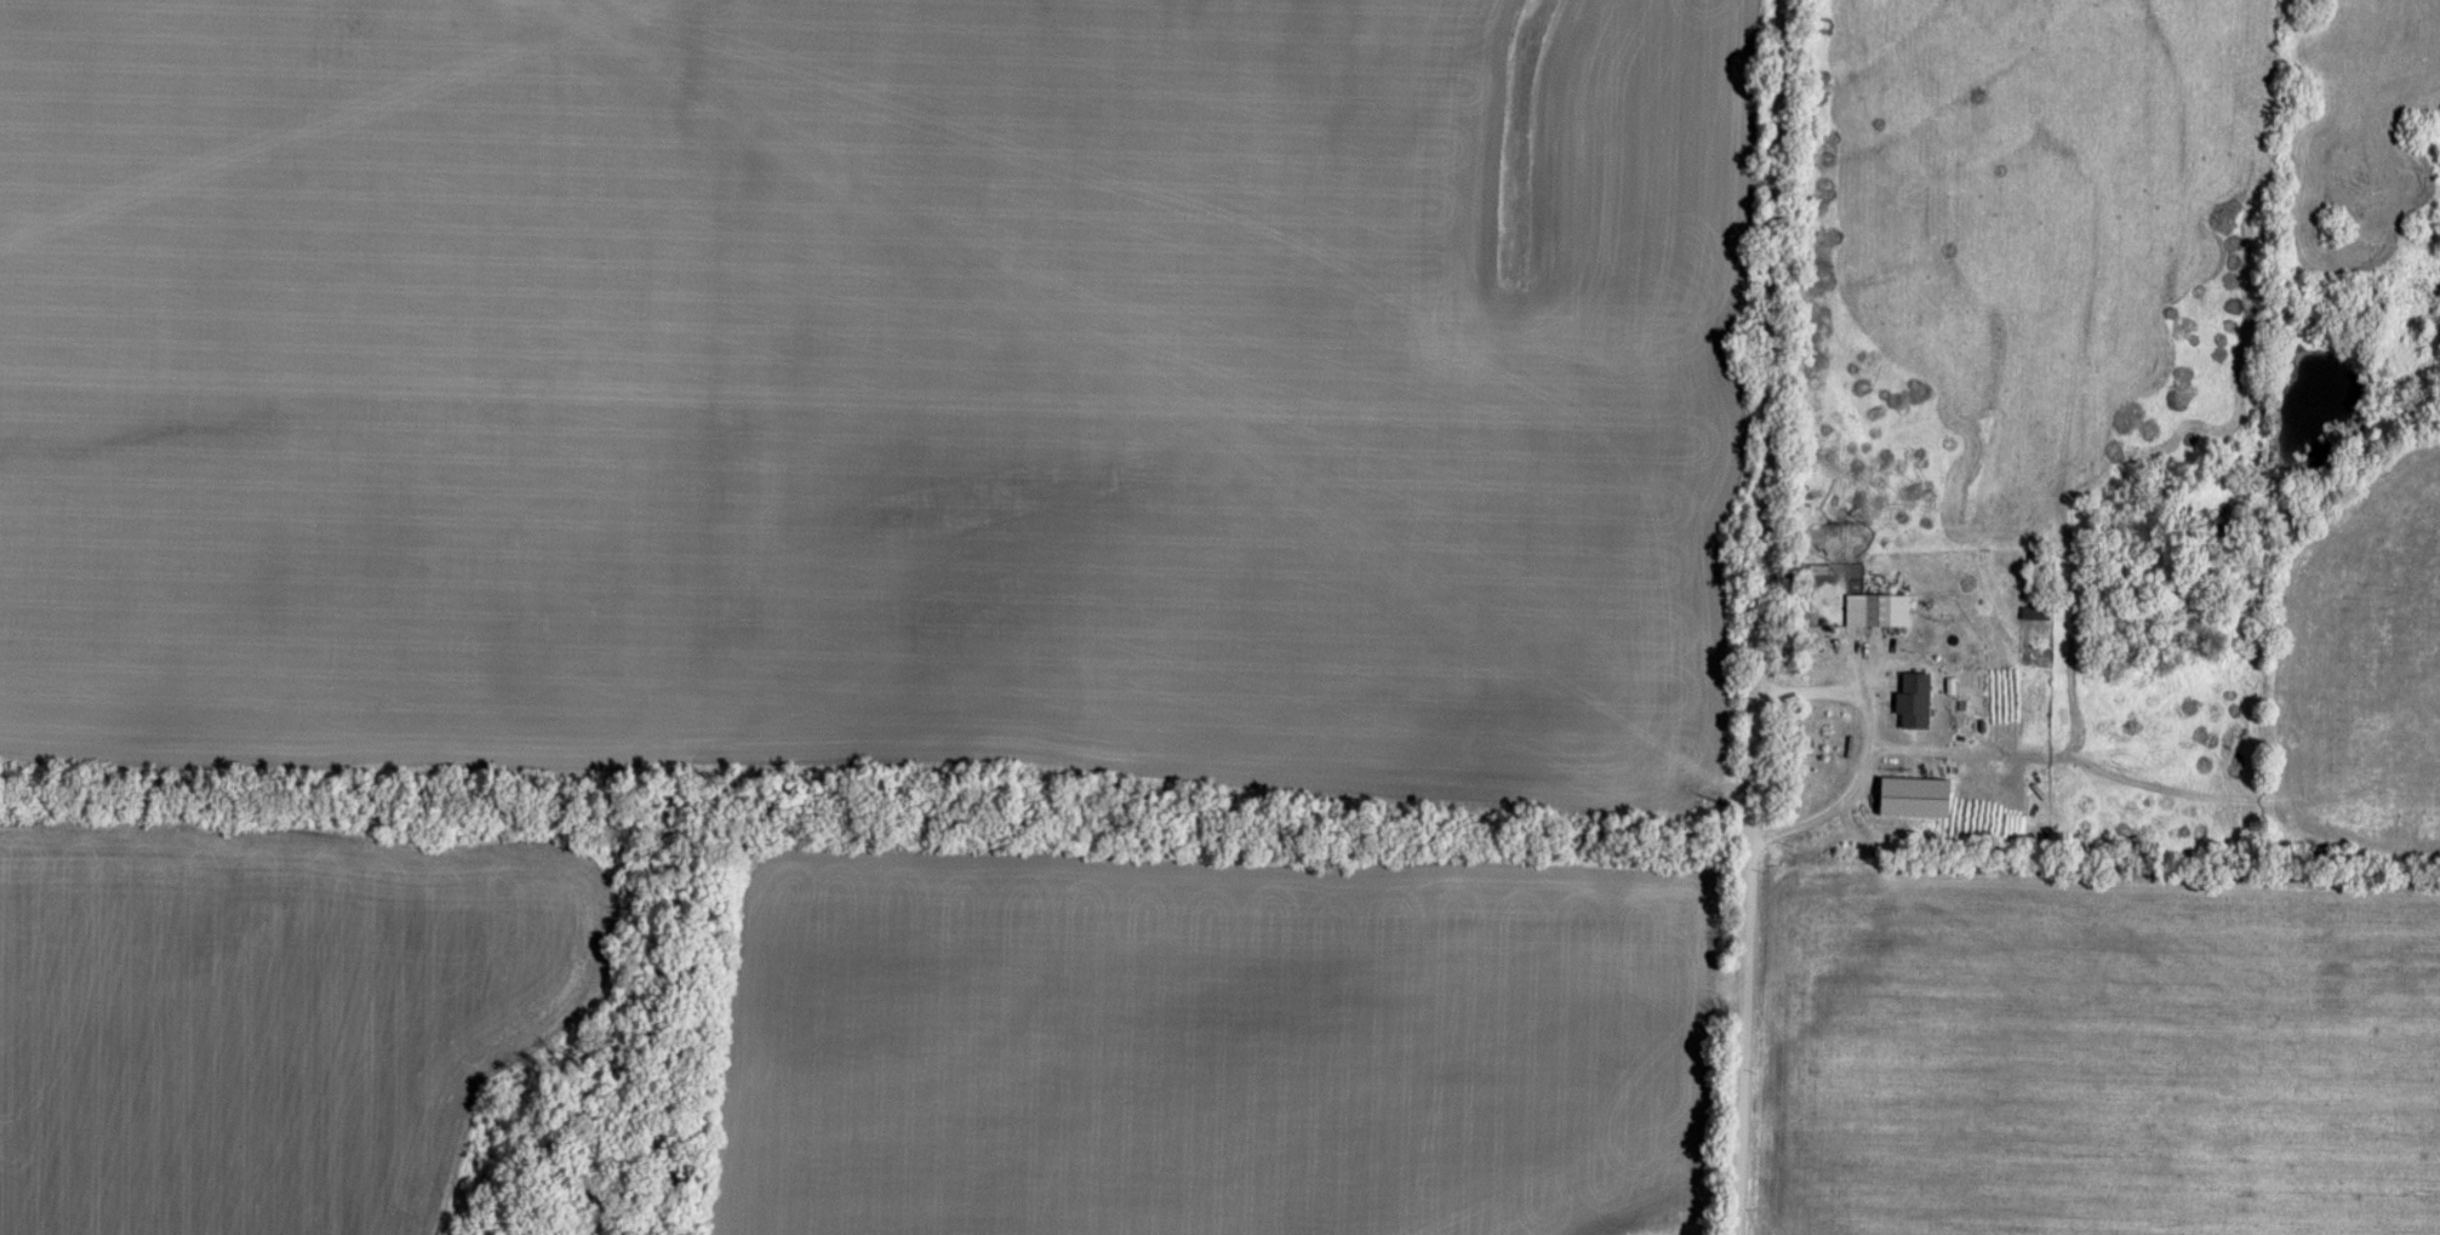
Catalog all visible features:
building: (1876, 607)
road: (1753, 617)
building: (1912, 698)
building: (1912, 795)

